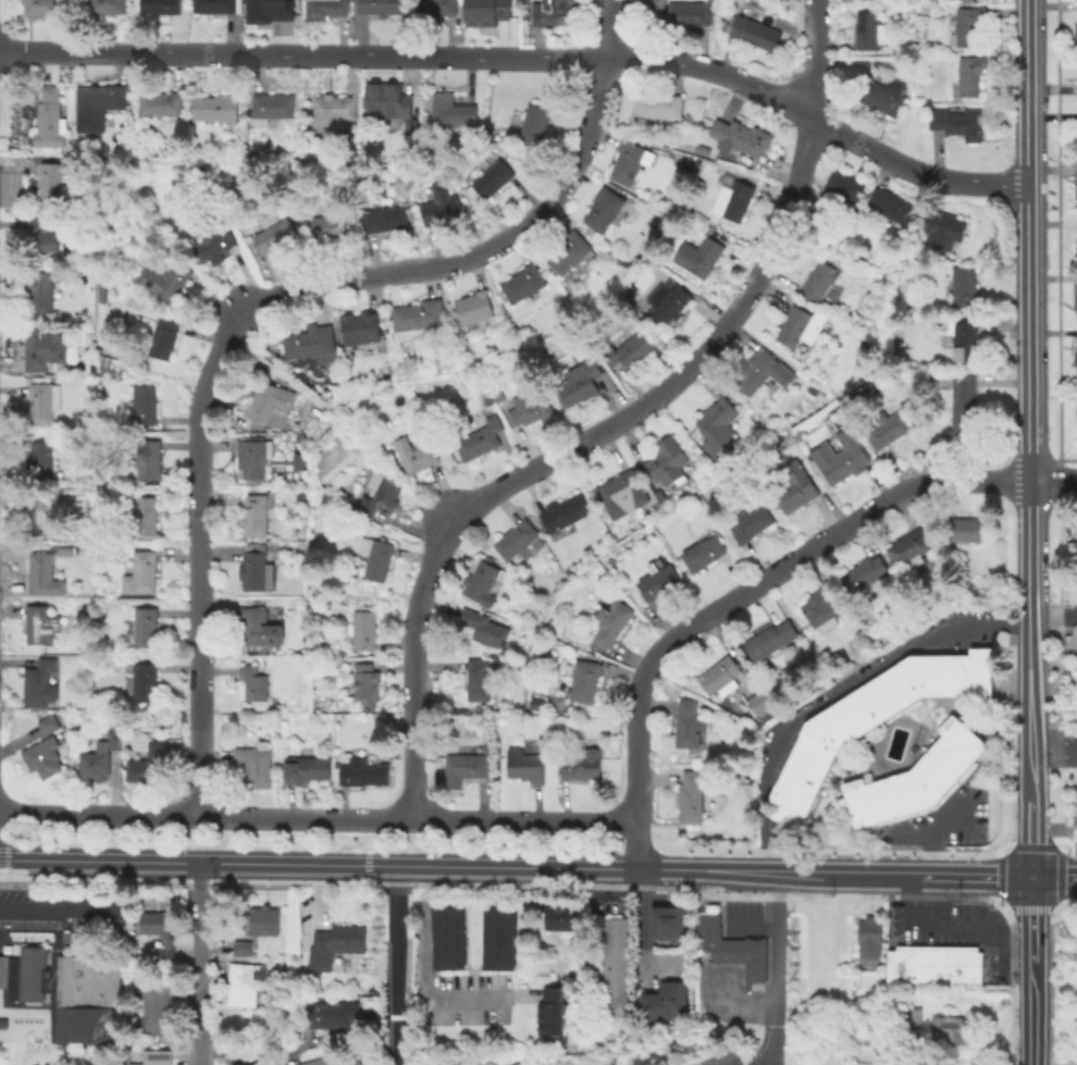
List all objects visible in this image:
building: (218, 5)
building: (106, 7)
building: (160, 7)
building: (380, 7)
building: (436, 7)
building: (41, 8)
building: (653, 8)
building: (325, 9)
building: (492, 9)
building: (925, 9)
building: (269, 11)
building: (689, 12)
building: (552, 13)
building: (966, 25)
road: (608, 29)
building: (867, 29)
building: (750, 30)
building: (1075, 33)
road: (527, 58)
road: (817, 59)
building: (862, 69)
building: (969, 76)
road: (1027, 92)
building: (887, 95)
building: (385, 100)
building: (98, 104)
building: (163, 104)
building: (659, 104)
building: (271, 107)
building: (218, 109)
building: (453, 109)
building: (331, 110)
building: (50, 119)
building: (958, 123)
building: (536, 124)
building: (739, 137)
building: (1075, 146)
building: (701, 149)
building: (628, 161)
building: (494, 177)
building: (52, 178)
building: (845, 186)
building: (1075, 189)
building: (731, 197)
building: (442, 205)
building: (891, 205)
building: (607, 208)
building: (386, 218)
building: (332, 225)
building: (943, 230)
building: (46, 232)
building: (275, 234)
road: (1057, 238)
building: (1075, 244)
building: (213, 246)
building: (570, 251)
building: (698, 255)
building: (162, 280)
building: (818, 280)
building: (525, 282)
building: (963, 286)
building: (41, 292)
building: (1075, 299)
building: (667, 300)
building: (475, 306)
building: (419, 317)
road: (239, 324)
building: (802, 324)
building: (361, 327)
road: (1027, 333)
building: (164, 337)
building: (964, 337)
building: (310, 342)
building: (628, 346)
building: (39, 348)
building: (1074, 357)
building: (762, 371)
building: (577, 382)
building: (498, 395)
building: (487, 399)
building: (42, 401)
building: (140, 404)
building: (270, 404)
building: (531, 406)
building: (962, 406)
building: (1075, 414)
building: (714, 424)
building: (888, 428)
building: (480, 437)
road: (562, 450)
building: (413, 453)
building: (845, 456)
building: (255, 457)
building: (149, 458)
building: (42, 459)
building: (668, 462)
road: (1052, 481)
road: (1055, 482)
building: (794, 485)
building: (618, 486)
building: (85, 493)
building: (381, 494)
building: (44, 511)
building: (564, 511)
building: (146, 515)
building: (252, 515)
building: (750, 521)
building: (964, 530)
building: (517, 538)
building: (911, 547)
building: (704, 550)
building: (66, 552)
building: (375, 557)
building: (258, 569)
building: (141, 572)
building: (865, 574)
building: (45, 575)
building: (481, 580)
building: (659, 581)
road: (738, 596)
building: (824, 609)
road: (1052, 614)
building: (612, 621)
building: (259, 623)
building: (41, 624)
building: (146, 626)
building: (483, 627)
building: (364, 629)
building: (770, 639)
road: (1028, 641)
building: (1076, 644)
road: (1067, 667)
road: (1059, 670)
building: (720, 676)
building: (479, 679)
building: (585, 680)
building: (145, 681)
building: (255, 682)
building: (367, 682)
building: (40, 683)
road: (853, 684)
building: (762, 701)
building: (538, 704)
building: (61, 715)
building: (870, 718)
building: (48, 723)
building: (689, 723)
road: (884, 727)
street lamp: (1072, 732)
road: (1053, 751)
parking lot: (1069, 754)
building: (44, 756)
building: (96, 757)
road: (902, 757)
building: (148, 763)
building: (255, 764)
building: (524, 764)
building: (580, 764)
building: (468, 765)
building: (307, 768)
building: (359, 769)
building: (914, 778)
building: (692, 794)
road: (810, 807)
road: (319, 816)
road: (791, 822)
road: (773, 828)
road: (851, 833)
road: (930, 833)
road: (914, 837)
road: (1029, 838)
road: (366, 841)
road: (646, 844)
road: (1061, 844)
road: (1030, 845)
road: (657, 849)
road: (828, 850)
road: (998, 852)
road: (3, 853)
road: (762, 853)
road: (366, 866)
road: (320, 867)
road: (660, 872)
road: (805, 875)
road: (942, 876)
road: (992, 876)
traffic signals: (1030, 876)
road: (1053, 876)
road: (1060, 879)
road: (996, 880)
road: (85, 888)
road: (999, 907)
road: (1024, 909)
road: (42, 911)
road: (1056, 911)
road: (102, 912)
road: (1061, 914)
road: (1070, 914)
road: (732, 915)
building: (558, 916)
building: (263, 919)
road: (1030, 920)
road: (961, 922)
building: (664, 924)
building: (614, 930)
building: (446, 933)
building: (497, 933)
building: (704, 933)
building: (160, 934)
road: (639, 936)
building: (866, 937)
building: (336, 943)
building: (243, 948)
building: (732, 953)
road: (776, 953)
building: (614, 954)
building: (716, 954)
building: (751, 962)
building: (931, 963)
building: (903, 964)
building: (962, 964)
road: (200, 965)
road: (396, 967)
building: (24, 974)
road: (420, 974)
building: (614, 979)
building: (246, 982)
street lamp: (1013, 983)
park: (1063, 984)
building: (299, 993)
building: (87, 998)
road: (734, 1000)
building: (664, 1001)
building: (614, 1004)
building: (156, 1007)
building: (550, 1011)
building: (332, 1014)
road: (1029, 1015)
building: (908, 1021)
building: (3, 1023)
building: (946, 1030)
road: (765, 1048)
road: (264, 1051)
building: (151, 1057)
building: (322, 1061)
road: (757, 1063)
building: (245, 1064)
road: (1044, 1064)

